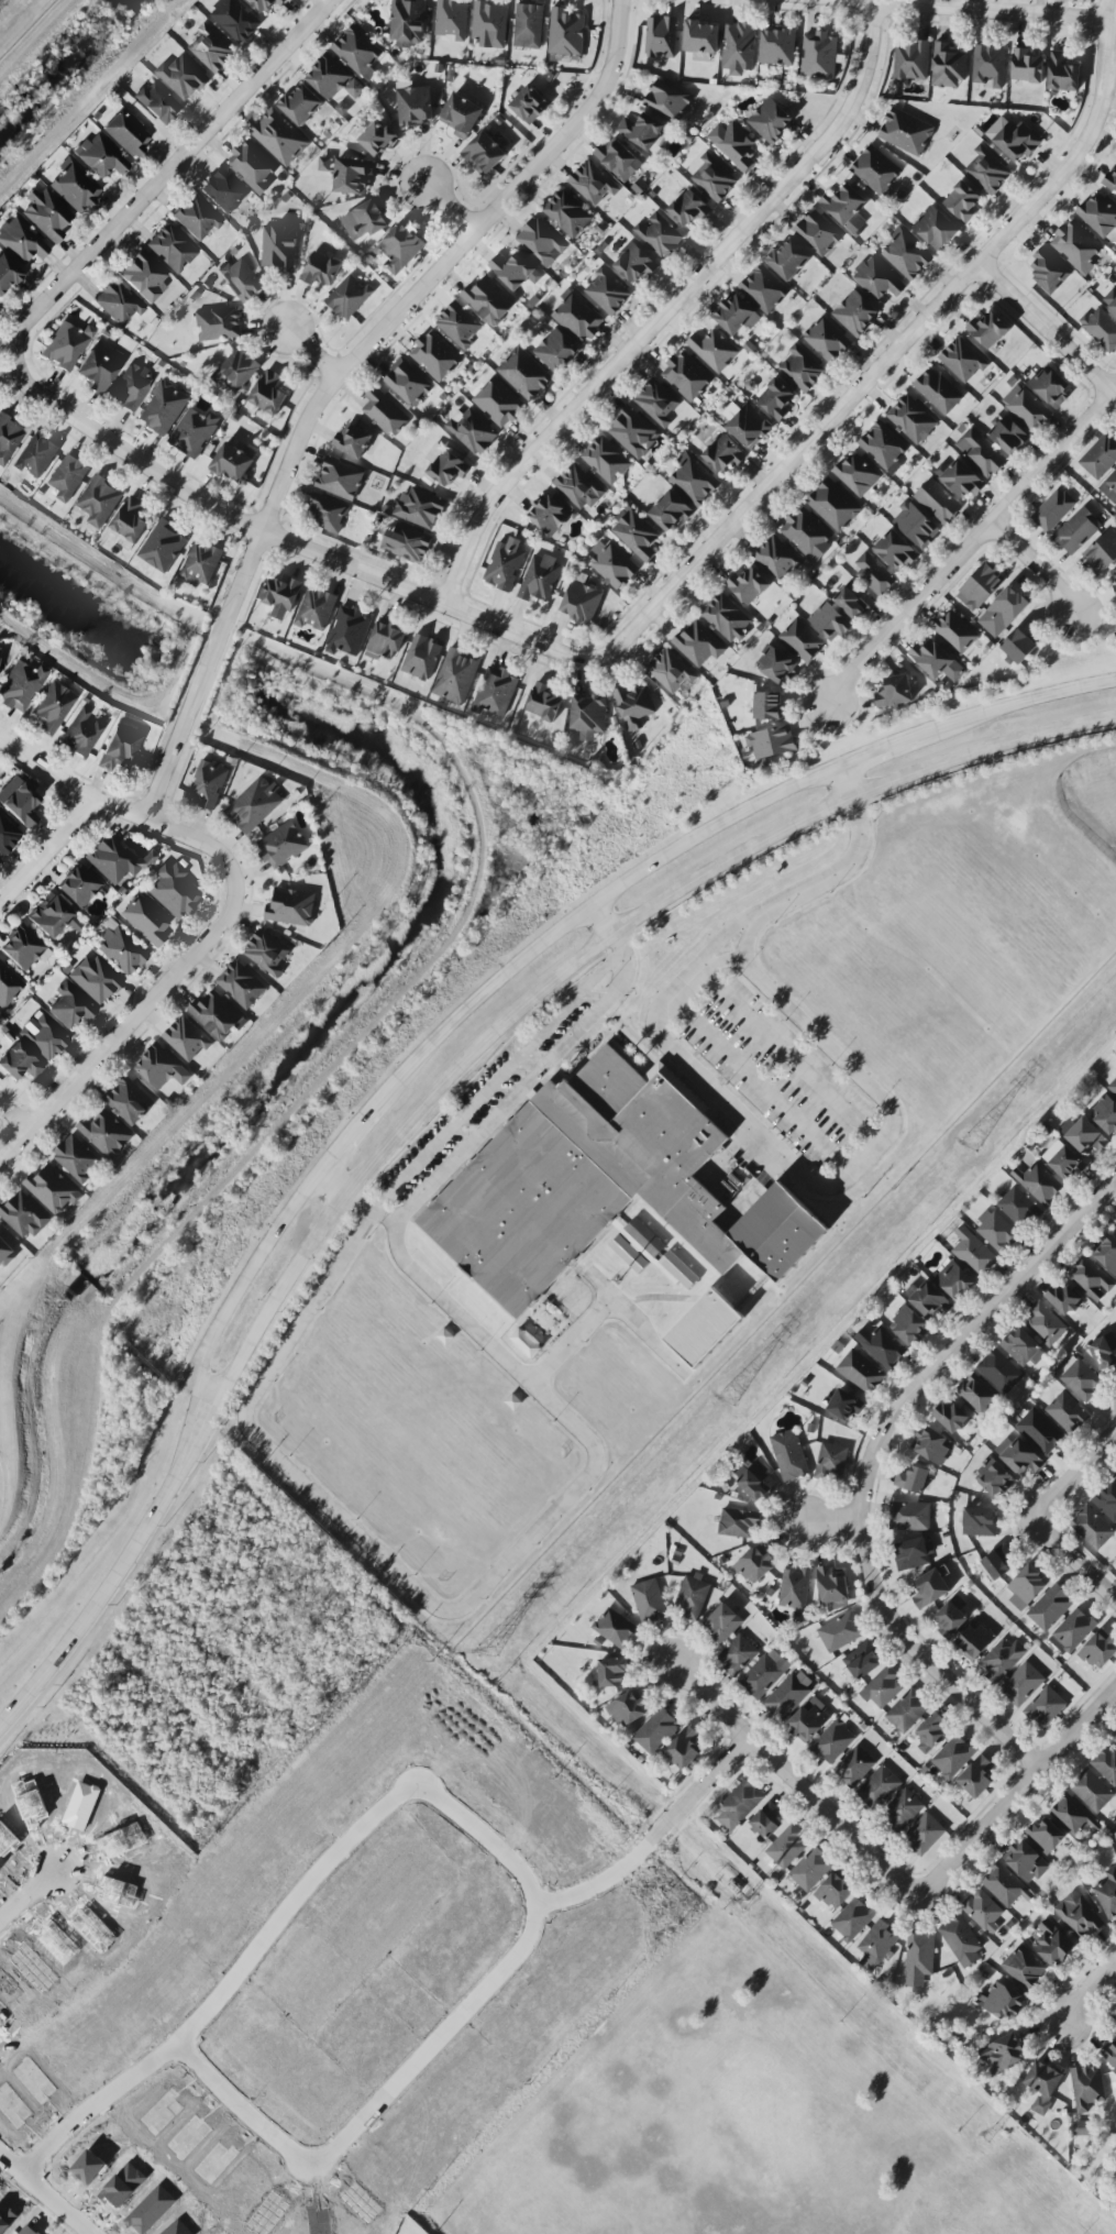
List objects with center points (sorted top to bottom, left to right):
building: (266, 4)
road: (980, 9)
building: (452, 19)
building: (236, 20)
building: (408, 22)
building: (490, 24)
building: (528, 26)
building: (566, 33)
building: (661, 36)
building: (700, 40)
building: (777, 47)
building: (739, 48)
building: (211, 49)
building: (357, 52)
building: (819, 55)
building: (910, 63)
building: (990, 65)
building: (949, 66)
building: (1026, 67)
building: (1062, 73)
building: (183, 77)
building: (333, 79)
building: (667, 100)
building: (158, 102)
building: (301, 104)
building: (529, 104)
building: (415, 107)
building: (461, 115)
building: (771, 120)
building: (641, 131)
building: (906, 132)
building: (126, 134)
building: (279, 137)
building: (377, 139)
building: (1014, 139)
building: (734, 145)
building: (483, 154)
building: (100, 156)
building: (618, 159)
building: (324, 164)
building: (252, 166)
building: (876, 170)
building: (987, 170)
road: (163, 174)
building: (352, 176)
building: (714, 178)
building: (1111, 181)
building: (593, 184)
building: (74, 187)
building: (223, 191)
building: (962, 201)
road: (449, 205)
building: (846, 208)
building: (689, 209)
building: (567, 213)
building: (46, 214)
building: (1098, 214)
building: (196, 218)
building: (366, 220)
building: (936, 229)
building: (818, 233)
building: (660, 235)
building: (21, 241)
building: (541, 242)
building: (1076, 246)
building: (170, 249)
building: (279, 249)
building: (400, 249)
building: (906, 254)
building: (788, 260)
building: (636, 263)
building: (320, 269)
building: (515, 271)
building: (1048, 272)
building: (8, 273)
building: (143, 276)
building: (877, 279)
building: (242, 280)
building: (764, 289)
building: (607, 293)
building: (349, 297)
building: (489, 300)
building: (1111, 300)
building: (118, 302)
road: (666, 306)
building: (855, 313)
building: (737, 316)
building: (577, 317)
building: (219, 324)
building: (458, 324)
building: (1101, 328)
building: (987, 330)
road: (1046, 330)
building: (827, 340)
building: (65, 345)
building: (714, 350)
building: (556, 351)
road: (894, 351)
road: (309, 352)
building: (435, 355)
building: (962, 361)
building: (236, 370)
building: (803, 370)
building: (96, 372)
building: (524, 373)
road: (338, 376)
building: (687, 376)
building: (407, 383)
building: (1050, 387)
building: (131, 388)
building: (938, 392)
building: (269, 394)
building: (775, 399)
building: (498, 403)
building: (656, 403)
building: (163, 408)
building: (1026, 408)
building: (385, 412)
building: (911, 419)
building: (747, 425)
building: (472, 431)
building: (195, 432)
building: (631, 432)
building: (1008, 436)
building: (8, 439)
building: (353, 441)
building: (883, 447)
building: (981, 453)
building: (723, 454)
building: (36, 455)
building: (1100, 456)
building: (607, 460)
building: (232, 463)
building: (445, 465)
building: (857, 474)
building: (68, 477)
building: (340, 478)
building: (694, 480)
building: (962, 480)
building: (578, 487)
building: (1109, 487)
building: (100, 502)
building: (938, 502)
building: (833, 505)
building: (420, 508)
building: (1053, 510)
building: (671, 511)
building: (328, 513)
building: (549, 515)
building: (130, 522)
building: (915, 525)
building: (1078, 531)
building: (636, 533)
building: (807, 533)
road: (284, 540)
building: (407, 543)
road: (968, 544)
building: (164, 547)
building: (896, 550)
building: (1101, 553)
building: (776, 559)
building: (201, 563)
building: (505, 564)
building: (612, 564)
road: (1036, 565)
building: (873, 573)
building: (1115, 573)
building: (540, 579)
building: (748, 585)
building: (1114, 586)
building: (980, 587)
building: (281, 597)
building: (853, 601)
building: (581, 603)
building: (1007, 607)
building: (316, 609)
building: (727, 617)
building: (829, 621)
building: (349, 631)
building: (955, 632)
building: (802, 640)
building: (385, 641)
building: (698, 643)
building: (1019, 646)
building: (421, 657)
building: (931, 659)
building: (775, 664)
building: (671, 672)
building: (455, 676)
building: (21, 685)
building: (495, 691)
building: (895, 692)
road: (1012, 701)
building: (543, 703)
building: (634, 706)
building: (769, 706)
building: (53, 707)
building: (588, 716)
building: (80, 734)
building: (772, 741)
building: (120, 746)
road: (872, 749)
road: (982, 749)
road: (843, 780)
building: (208, 783)
building: (19, 801)
building: (254, 805)
road: (122, 810)
road: (707, 822)
building: (8, 835)
building: (281, 846)
road: (45, 850)
road: (730, 858)
building: (115, 859)
building: (79, 885)
building: (174, 891)
building: (291, 907)
road: (604, 915)
building: (53, 917)
building: (145, 920)
building: (23, 948)
building: (120, 948)
building: (267, 953)
road: (717, 960)
building: (95, 979)
building: (242, 984)
road: (477, 991)
building: (70, 1006)
building: (218, 1015)
road: (124, 1025)
building: (42, 1036)
building: (186, 1039)
road: (471, 1050)
road: (783, 1056)
building: (19, 1063)
building: (163, 1068)
road: (758, 1086)
building: (1113, 1087)
building: (130, 1101)
building: (1106, 1114)
road: (13, 1116)
road: (344, 1130)
building: (107, 1134)
building: (1086, 1138)
road: (876, 1141)
power tower: (972, 1142)
building: (76, 1158)
building: (1062, 1159)
road: (331, 1179)
building: (579, 1179)
building: (1039, 1184)
building: (52, 1189)
building: (1018, 1208)
road: (368, 1213)
building: (24, 1215)
building: (782, 1231)
building: (996, 1232)
building: (645, 1237)
building: (5, 1252)
building: (973, 1253)
building: (629, 1254)
building: (1107, 1254)
building: (1091, 1279)
building: (954, 1280)
road: (614, 1297)
road: (229, 1298)
building: (1063, 1299)
building: (930, 1301)
road: (263, 1318)
building: (1046, 1324)
building: (909, 1325)
building: (704, 1328)
road: (962, 1340)
road: (571, 1341)
building: (881, 1346)
building: (1020, 1346)
building: (1104, 1351)
building: (861, 1372)
building: (1001, 1374)
building: (1080, 1379)
power tower: (731, 1394)
building: (975, 1394)
building: (843, 1405)
building: (1067, 1412)
building: (950, 1417)
building: (1040, 1431)
building: (933, 1445)
building: (789, 1455)
building: (1019, 1456)
building: (831, 1462)
building: (995, 1477)
building: (911, 1479)
building: (1115, 1479)
building: (758, 1484)
road: (7, 1493)
building: (1107, 1501)
road: (1036, 1515)
building: (909, 1516)
building: (739, 1522)
building: (979, 1522)
road: (832, 1526)
building: (1092, 1528)
building: (913, 1553)
road: (505, 1561)
building: (997, 1562)
building: (754, 1566)
building: (831, 1585)
building: (1026, 1587)
building: (793, 1588)
building: (930, 1589)
road: (102, 1593)
building: (692, 1597)
building: (649, 1600)
building: (1050, 1608)
building: (952, 1616)
building: (722, 1624)
building: (616, 1628)
building: (1074, 1629)
building: (840, 1632)
building: (975, 1640)
building: (1098, 1651)
power tower: (486, 1654)
building: (737, 1655)
building: (1003, 1660)
building: (863, 1661)
road: (929, 1662)
building: (612, 1672)
building: (764, 1674)
building: (1021, 1684)
building: (884, 1687)
building: (788, 1694)
building: (1045, 1707)
building: (628, 1708)
building: (907, 1710)
building: (809, 1720)
building: (656, 1731)
building: (932, 1731)
building: (1115, 1741)
building: (833, 1742)
building: (684, 1749)
building: (952, 1757)
building: (1106, 1764)
building: (854, 1767)
building: (976, 1778)
road: (797, 1780)
road: (698, 1786)
building: (880, 1786)
building: (1092, 1791)
road: (1017, 1792)
building: (739, 1805)
building: (903, 1808)
building: (1070, 1815)
building: (766, 1820)
building: (925, 1834)
building: (1046, 1837)
building: (787, 1847)
building: (1027, 1862)
building: (810, 1869)
building: (1006, 1885)
building: (835, 1891)
building: (1107, 1894)
power tower: (747, 1901)
road: (24, 1903)
building: (983, 1911)
building: (1079, 1916)
building: (852, 1919)
building: (961, 1940)
building: (1053, 1944)
building: (876, 1945)
building: (920, 1955)
building: (1025, 1968)
road: (1084, 1989)
building: (1004, 2002)
building: (1114, 2015)
building: (1004, 2054)
building: (1109, 2055)
building: (1043, 2084)
building: (1087, 2089)
road: (224, 2099)
road: (88, 2120)
building: (1082, 2128)
power tower: (990, 2134)
road: (51, 2207)

